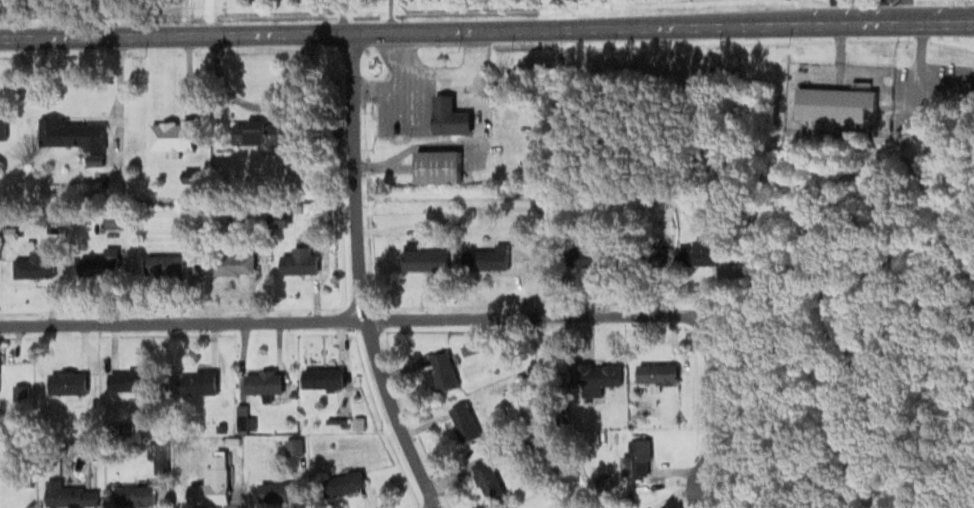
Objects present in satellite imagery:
road: (942, 15)
road: (205, 17)
road: (942, 17)
road: (455, 30)
building: (835, 104)
building: (448, 116)
building: (2, 129)
building: (262, 132)
building: (70, 133)
building: (172, 136)
building: (436, 166)
building: (113, 221)
building: (50, 225)
building: (696, 254)
building: (423, 258)
building: (486, 258)
building: (589, 259)
building: (301, 260)
building: (232, 264)
building: (32, 265)
building: (96, 265)
building: (163, 265)
road: (360, 277)
road: (445, 320)
building: (655, 371)
building: (443, 374)
building: (322, 376)
building: (128, 379)
building: (600, 379)
building: (196, 381)
building: (262, 381)
building: (66, 382)
building: (18, 392)
building: (463, 421)
building: (292, 446)
building: (635, 457)
building: (210, 482)
building: (344, 482)
building: (277, 491)
building: (133, 493)
building: (70, 494)

